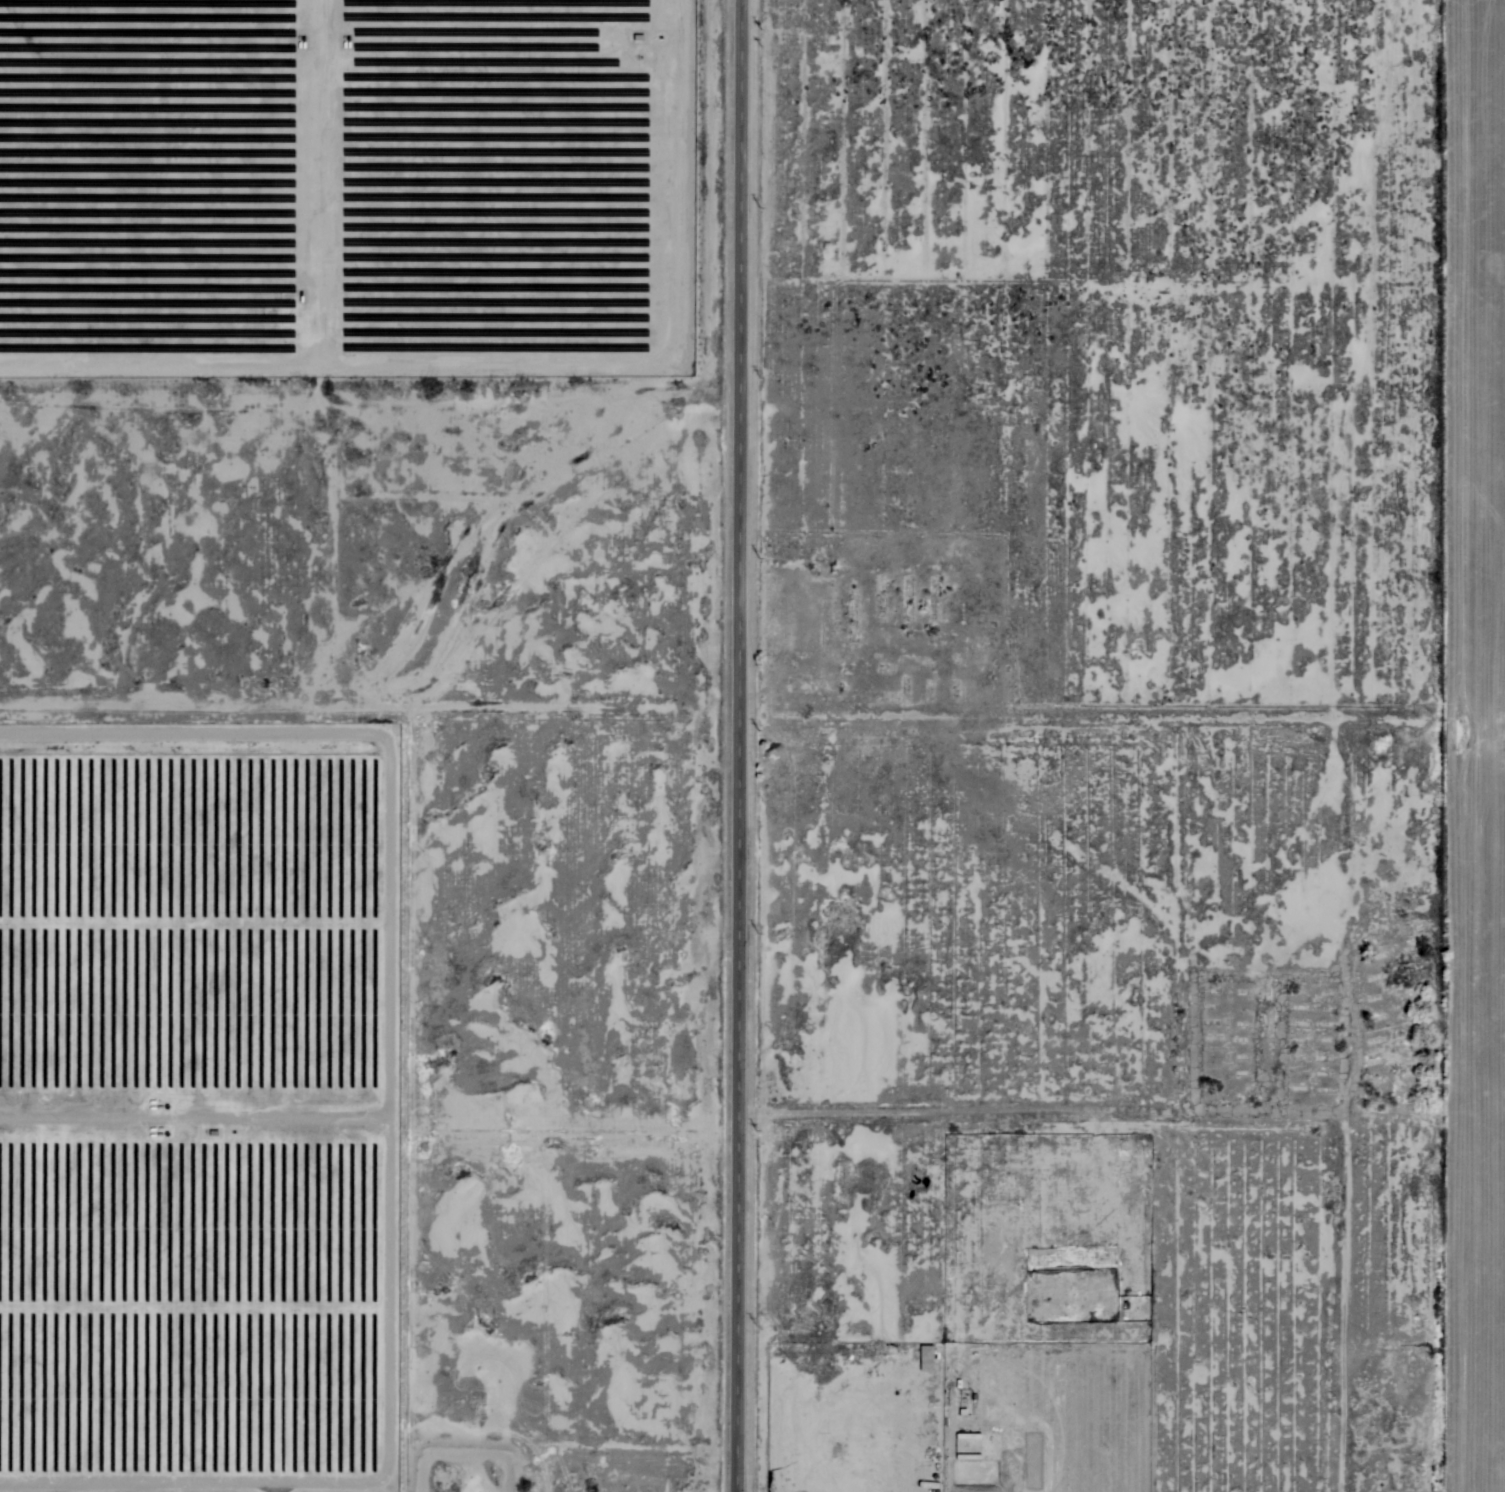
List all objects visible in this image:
solar farm: (346, 183)
crop: (1469, 744)
road: (729, 746)
solar farm: (196, 1106)
building: (935, 1488)

